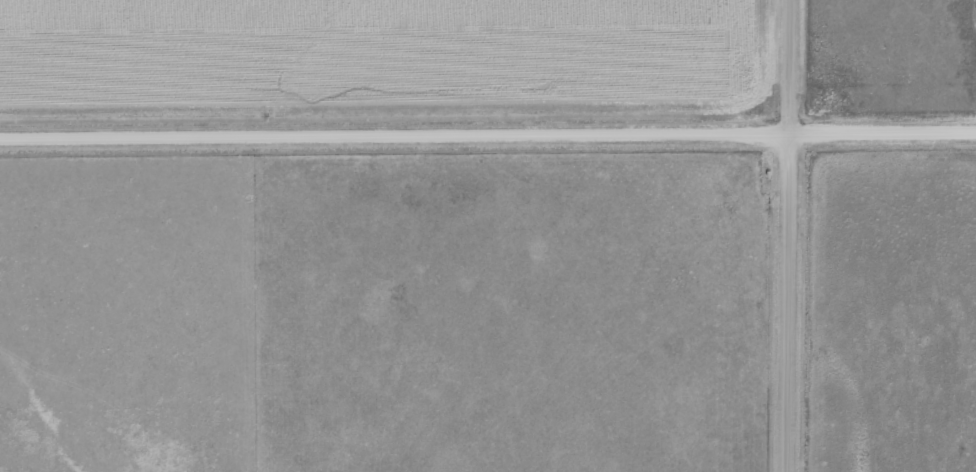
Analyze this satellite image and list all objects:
road: (488, 133)
road: (794, 236)

